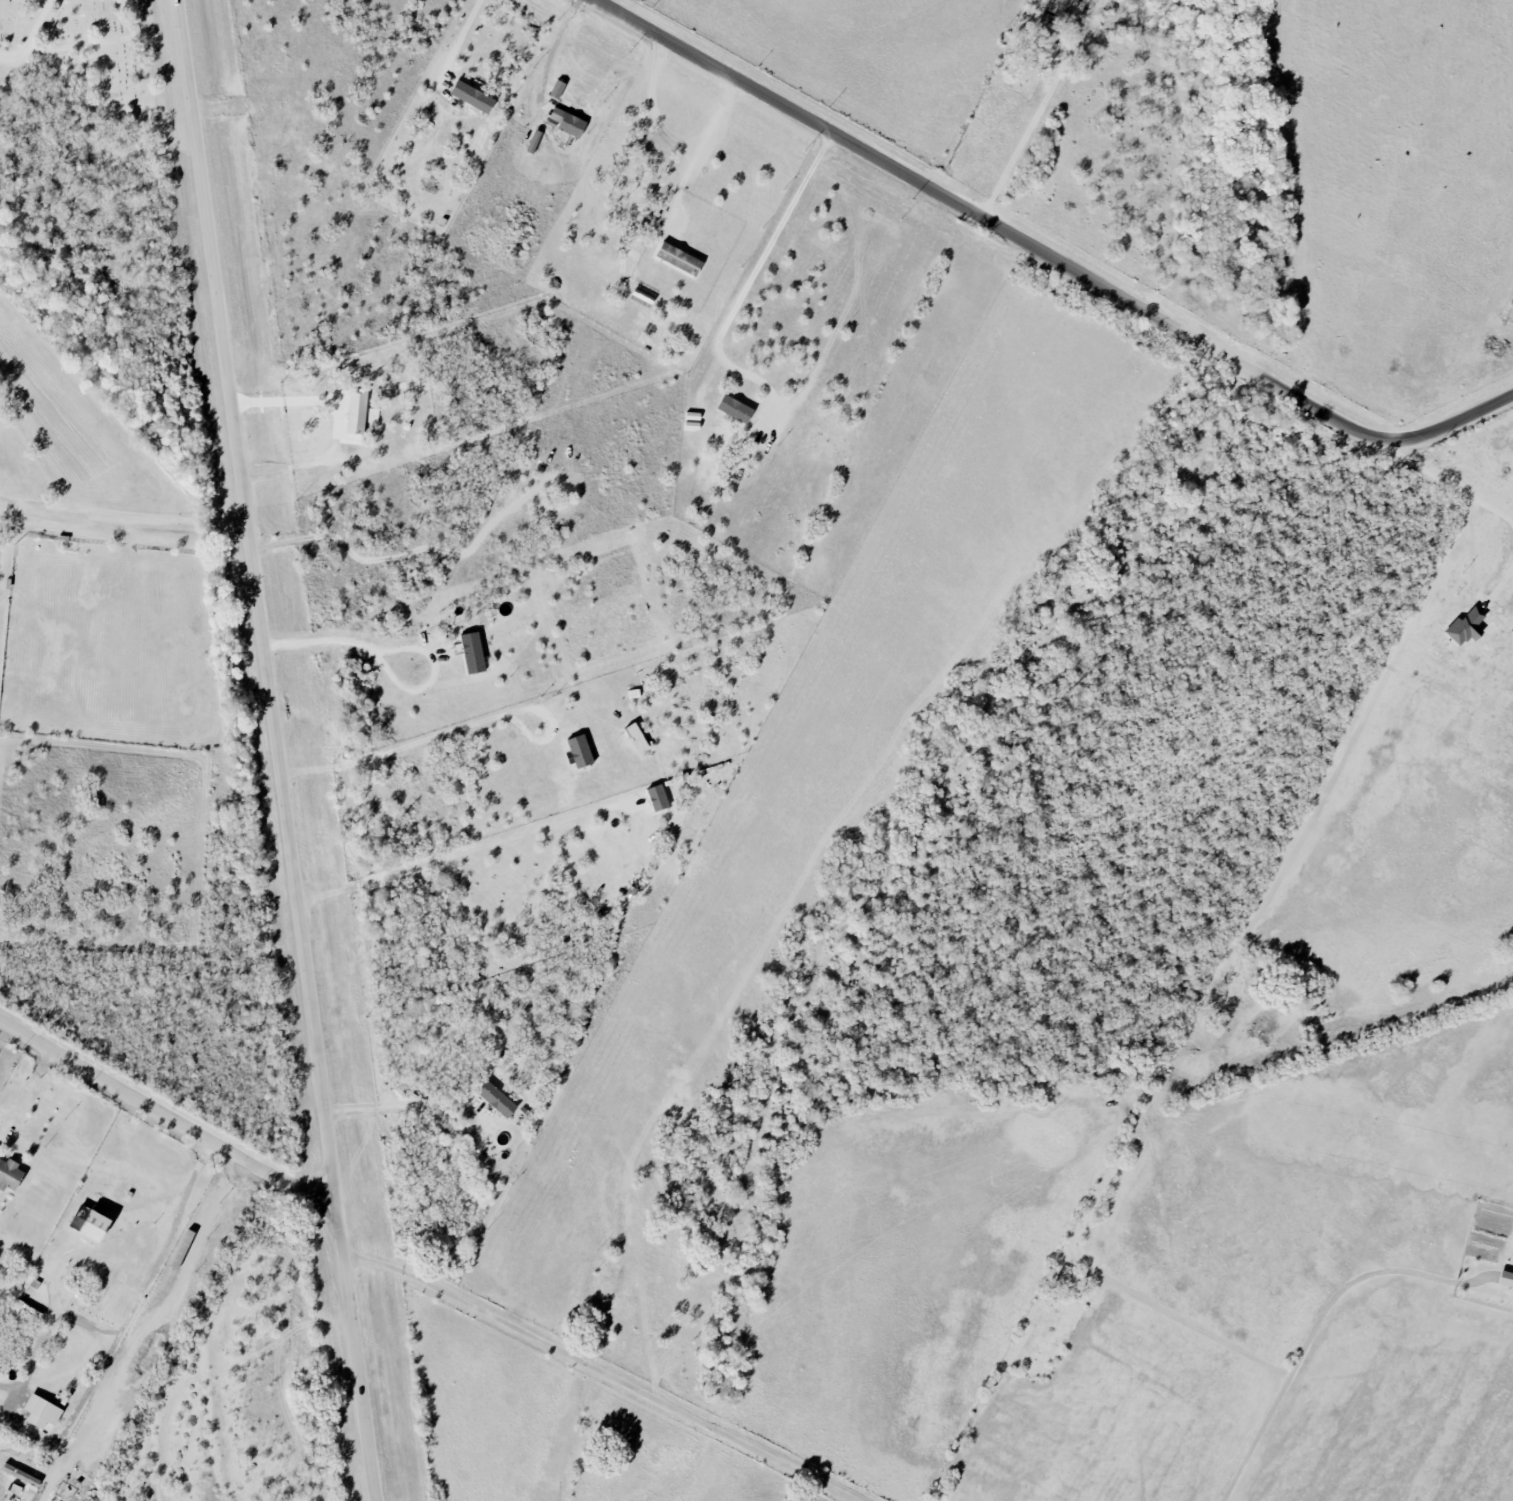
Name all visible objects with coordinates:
road: (31, 35)
building: (1048, 35)
road: (98, 37)
road: (461, 39)
park: (87, 51)
road: (552, 51)
building: (558, 89)
building: (473, 96)
road: (652, 103)
building: (567, 122)
road: (1032, 127)
road: (700, 149)
road: (1051, 256)
building: (679, 258)
road: (754, 273)
road: (283, 397)
building: (736, 409)
building: (359, 417)
road: (122, 515)
road: (256, 600)
road: (454, 730)
building: (637, 737)
building: (581, 750)
building: (658, 797)
road: (24, 1092)
building: (497, 1099)
road: (393, 1108)
road: (165, 1114)
building: (10, 1174)
building: (1506, 1279)
road: (1319, 1317)
road: (149, 1332)
road: (355, 1351)
road: (601, 1380)
road: (88, 1395)
building: (42, 1412)

